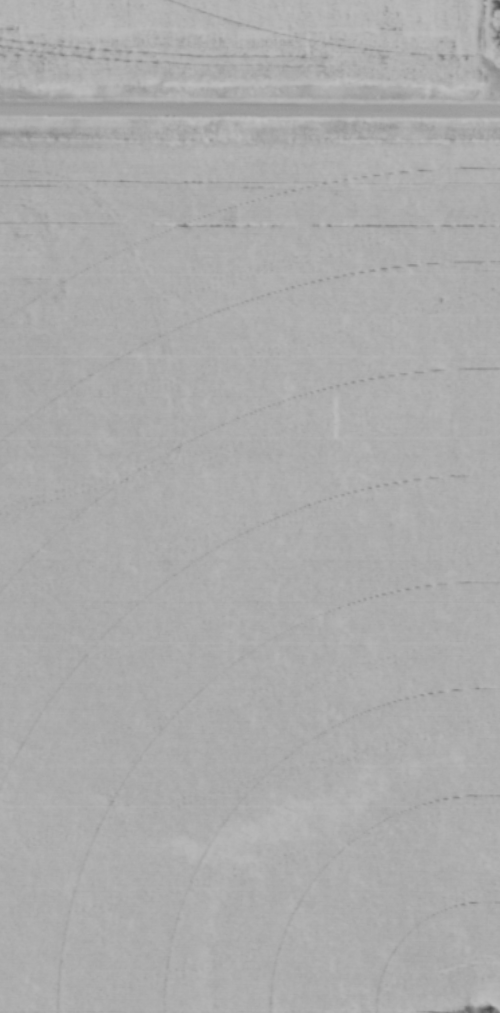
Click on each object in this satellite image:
road: (249, 116)

